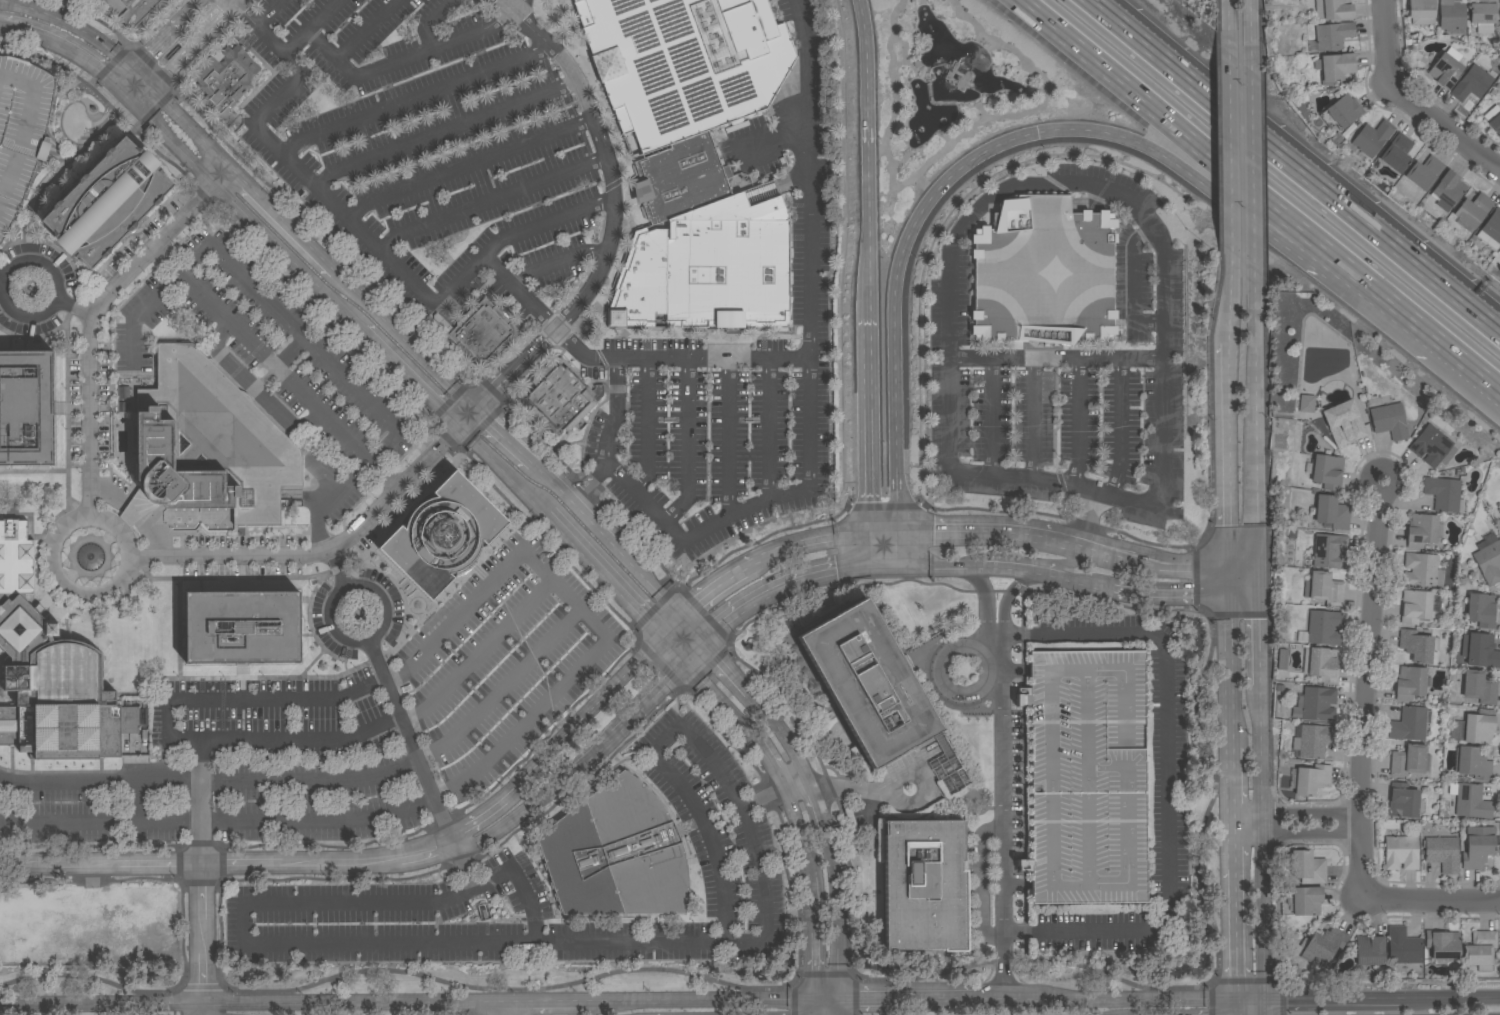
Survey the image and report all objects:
road: (233, 1)
parking lot: (81, 3)
road: (514, 4)
road: (27, 7)
building: (1334, 9)
building: (135, 10)
road: (188, 11)
road: (268, 12)
building: (511, 12)
building: (1421, 12)
building: (1452, 15)
building: (1484, 15)
building: (1499, 15)
road: (1253, 17)
road: (1231, 18)
road: (430, 22)
road: (1, 24)
road: (310, 26)
road: (361, 29)
building: (1333, 36)
road: (95, 39)
road: (1386, 40)
road: (154, 46)
road: (76, 51)
road: (184, 52)
road: (402, 59)
building: (684, 63)
building: (1335, 67)
building: (1446, 69)
road: (123, 77)
building: (225, 79)
building: (1472, 84)
traffic signals: (151, 88)
road: (414, 98)
traffic signals: (135, 103)
building: (1345, 111)
building: (229, 118)
road: (182, 119)
building: (1494, 120)
road: (1444, 125)
road: (444, 130)
building: (21, 131)
parking garage: (21, 131)
building: (1372, 138)
road: (176, 144)
road: (777, 144)
parking lot: (440, 148)
road: (949, 148)
building: (1397, 153)
road: (878, 155)
road: (870, 158)
road: (467, 163)
road: (1253, 164)
road: (1231, 166)
road: (1292, 166)
road: (963, 170)
road: (1231, 171)
road: (61, 173)
building: (1425, 173)
road: (306, 176)
road: (810, 177)
road: (225, 178)
road: (1081, 181)
road: (928, 187)
building: (1448, 191)
road: (491, 199)
building: (107, 203)
building: (1474, 210)
road: (613, 212)
road: (283, 222)
road: (546, 223)
building: (1491, 230)
building: (702, 248)
road: (287, 256)
road: (560, 264)
building: (1044, 274)
road: (3, 281)
road: (1132, 283)
road: (522, 293)
road: (1388, 305)
road: (75, 309)
road: (27, 318)
road: (1226, 318)
road: (92, 328)
building: (480, 332)
road: (306, 341)
road: (405, 342)
road: (678, 357)
road: (1054, 360)
road: (1472, 364)
parking lot: (733, 366)
road: (276, 370)
road: (410, 377)
parking lot: (1071, 387)
building: (561, 396)
road: (262, 403)
building: (1306, 403)
building: (26, 408)
road: (615, 412)
road: (992, 417)
road: (469, 420)
road: (1032, 420)
building: (1389, 420)
road: (1079, 423)
road: (870, 425)
road: (309, 426)
road: (646, 427)
road: (1118, 427)
road: (1256, 427)
road: (768, 428)
building: (1349, 429)
road: (727, 436)
building: (207, 444)
road: (687, 444)
building: (1432, 446)
road: (1226, 453)
road: (518, 454)
building: (1326, 471)
road: (508, 474)
road: (397, 492)
building: (1443, 493)
road: (5, 506)
building: (1499, 510)
building: (1332, 512)
building: (337, 513)
road: (731, 514)
road: (585, 520)
traffic signals: (896, 530)
building: (1421, 531)
road: (1015, 532)
building: (447, 537)
road: (817, 541)
road: (884, 547)
building: (1328, 552)
road: (323, 553)
road: (222, 558)
building: (1489, 558)
fountain: (90, 559)
traffic signals: (890, 563)
road: (936, 563)
road: (1179, 563)
road: (1242, 563)
traffic signals: (1257, 563)
road: (1016, 565)
road: (337, 570)
building: (1422, 571)
road: (1082, 577)
road: (1194, 578)
road: (1228, 579)
road: (1257, 579)
road: (63, 583)
road: (788, 583)
building: (1324, 589)
road: (621, 591)
road: (710, 591)
road: (657, 593)
road: (1170, 593)
road: (1242, 595)
road: (1005, 600)
road: (384, 602)
road: (983, 602)
building: (1416, 606)
building: (1479, 609)
road: (582, 611)
road: (1201, 611)
road: (1238, 614)
traffic signals: (683, 619)
road: (330, 625)
building: (242, 627)
road: (674, 628)
building: (1323, 628)
road: (1257, 636)
traffic signals: (666, 638)
traffic signals: (705, 643)
building: (1418, 646)
building: (1479, 651)
road: (478, 652)
road: (375, 660)
building: (1283, 660)
traffic signals: (688, 662)
building: (1321, 664)
road: (727, 668)
road: (1230, 671)
building: (51, 673)
building: (868, 683)
building: (1410, 683)
building: (1477, 687)
road: (502, 688)
road: (1366, 689)
road: (658, 692)
road: (721, 696)
building: (1315, 705)
road: (586, 719)
building: (1409, 724)
road: (170, 728)
building: (1475, 728)
road: (783, 736)
building: (1313, 740)
road: (770, 759)
building: (1408, 760)
road: (418, 761)
building: (1473, 764)
building: (1087, 776)
parking garage: (1087, 776)
building: (1312, 779)
road: (287, 781)
road: (1166, 783)
road: (798, 786)
road: (851, 787)
road: (1233, 790)
road: (96, 792)
building: (1403, 801)
road: (535, 802)
building: (1472, 802)
road: (906, 804)
road: (818, 810)
road: (1298, 814)
road: (315, 816)
road: (98, 819)
road: (476, 819)
road: (999, 819)
road: (197, 822)
road: (1298, 831)
road: (706, 833)
road: (1264, 840)
road: (809, 849)
building: (1479, 849)
building: (1401, 851)
road: (424, 852)
building: (616, 854)
building: (1443, 854)
road: (339, 863)
road: (240, 864)
road: (2, 865)
road: (158, 865)
road: (60, 866)
road: (461, 867)
building: (1308, 867)
building: (924, 886)
building: (1304, 900)
road: (1430, 901)
road: (1237, 918)
road: (840, 920)
road: (199, 935)
road: (287, 943)
building: (1443, 945)
building: (1322, 946)
building: (1403, 946)
building: (1480, 948)
building: (1370, 953)
building: (528, 958)
road: (819, 961)
building: (1293, 972)
road: (1245, 979)
road: (1453, 999)
road: (1105, 1002)
road: (1335, 1002)
road: (714, 1003)
road: (1252, 1003)
road: (557, 1004)
road: (898, 1004)
road: (356, 1005)
road: (99, 1007)
road: (1244, 1009)
road: (1259, 1009)
road: (199, 1010)
road: (512, 1010)
road: (827, 1010)

